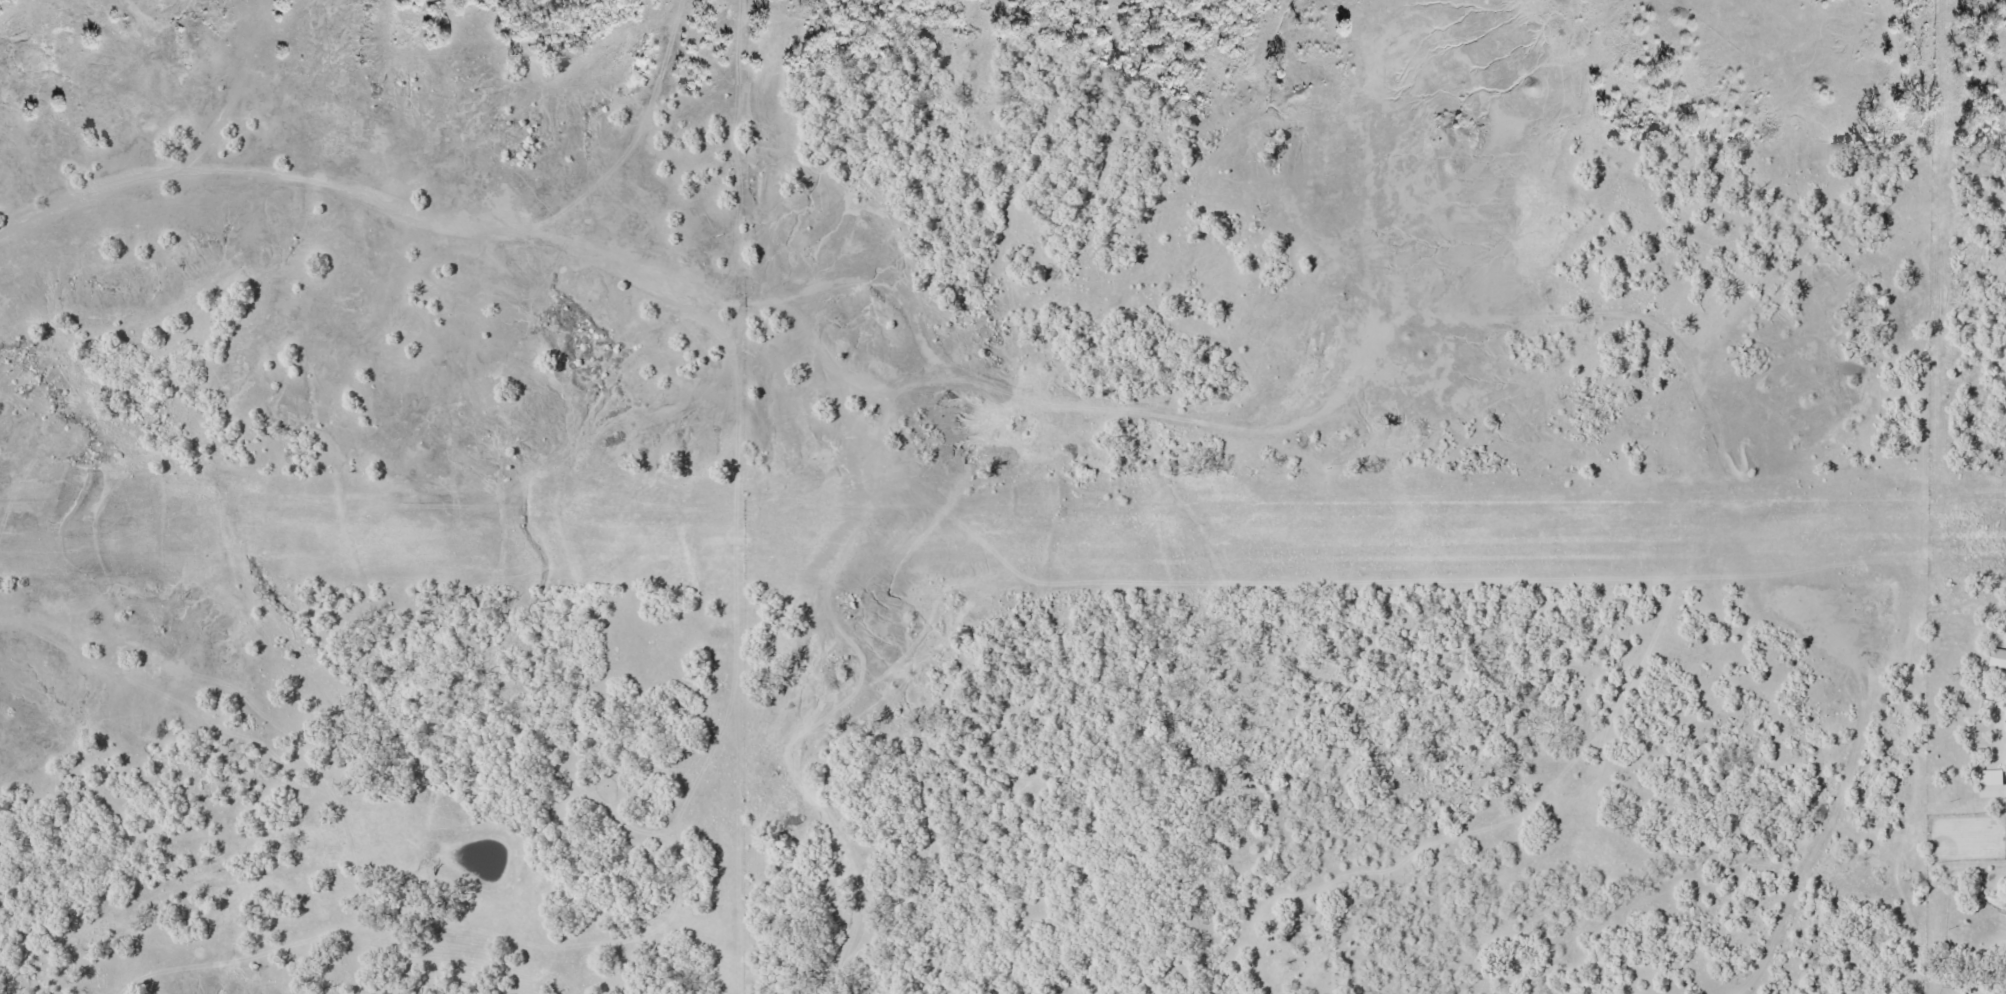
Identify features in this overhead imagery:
building: (1998, 658)
building: (1991, 784)

